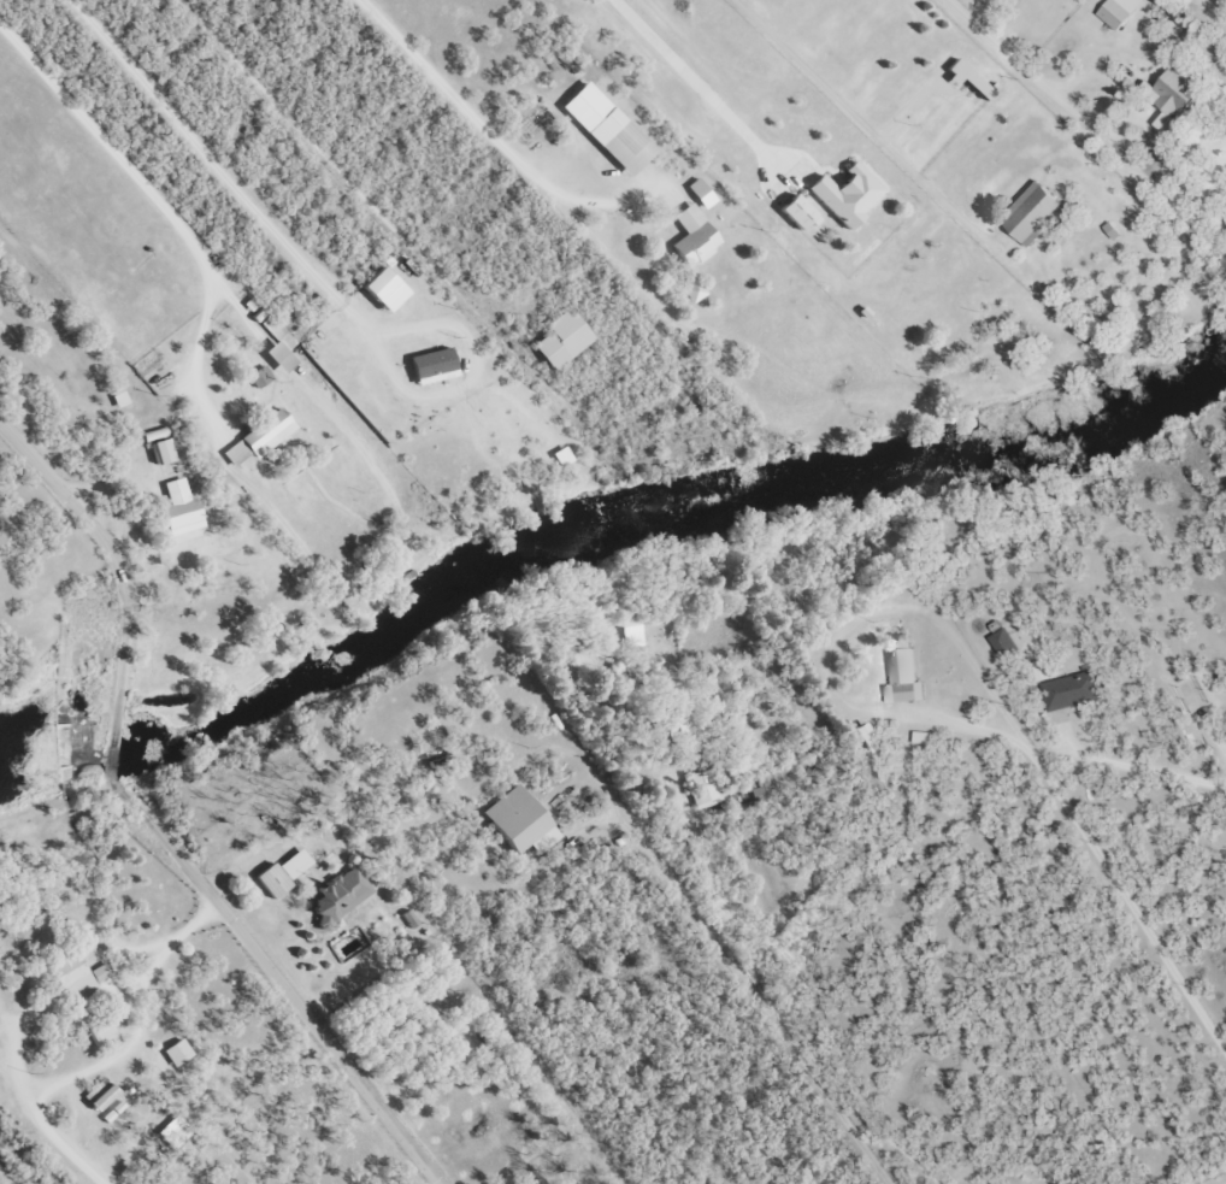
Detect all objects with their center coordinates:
building: (1115, 11)
building: (965, 77)
building: (1167, 94)
building: (603, 126)
building: (699, 192)
building: (844, 193)
building: (796, 211)
building: (1030, 214)
building: (1225, 218)
building: (1109, 230)
building: (691, 235)
building: (381, 288)
building: (692, 289)
building: (559, 338)
building: (276, 343)
building: (429, 365)
building: (258, 375)
building: (118, 397)
building: (257, 436)
building: (160, 449)
building: (559, 455)
building: (177, 507)
road: (104, 540)
building: (631, 630)
building: (1001, 641)
building: (903, 673)
building: (1069, 690)
building: (866, 737)
road: (107, 750)
building: (771, 782)
building: (705, 787)
building: (514, 819)
building: (293, 862)
building: (270, 878)
building: (337, 894)
building: (76, 971)
road: (288, 989)
building: (176, 1050)
building: (98, 1092)
building: (172, 1131)
road: (55, 1138)
road: (761, 1160)

